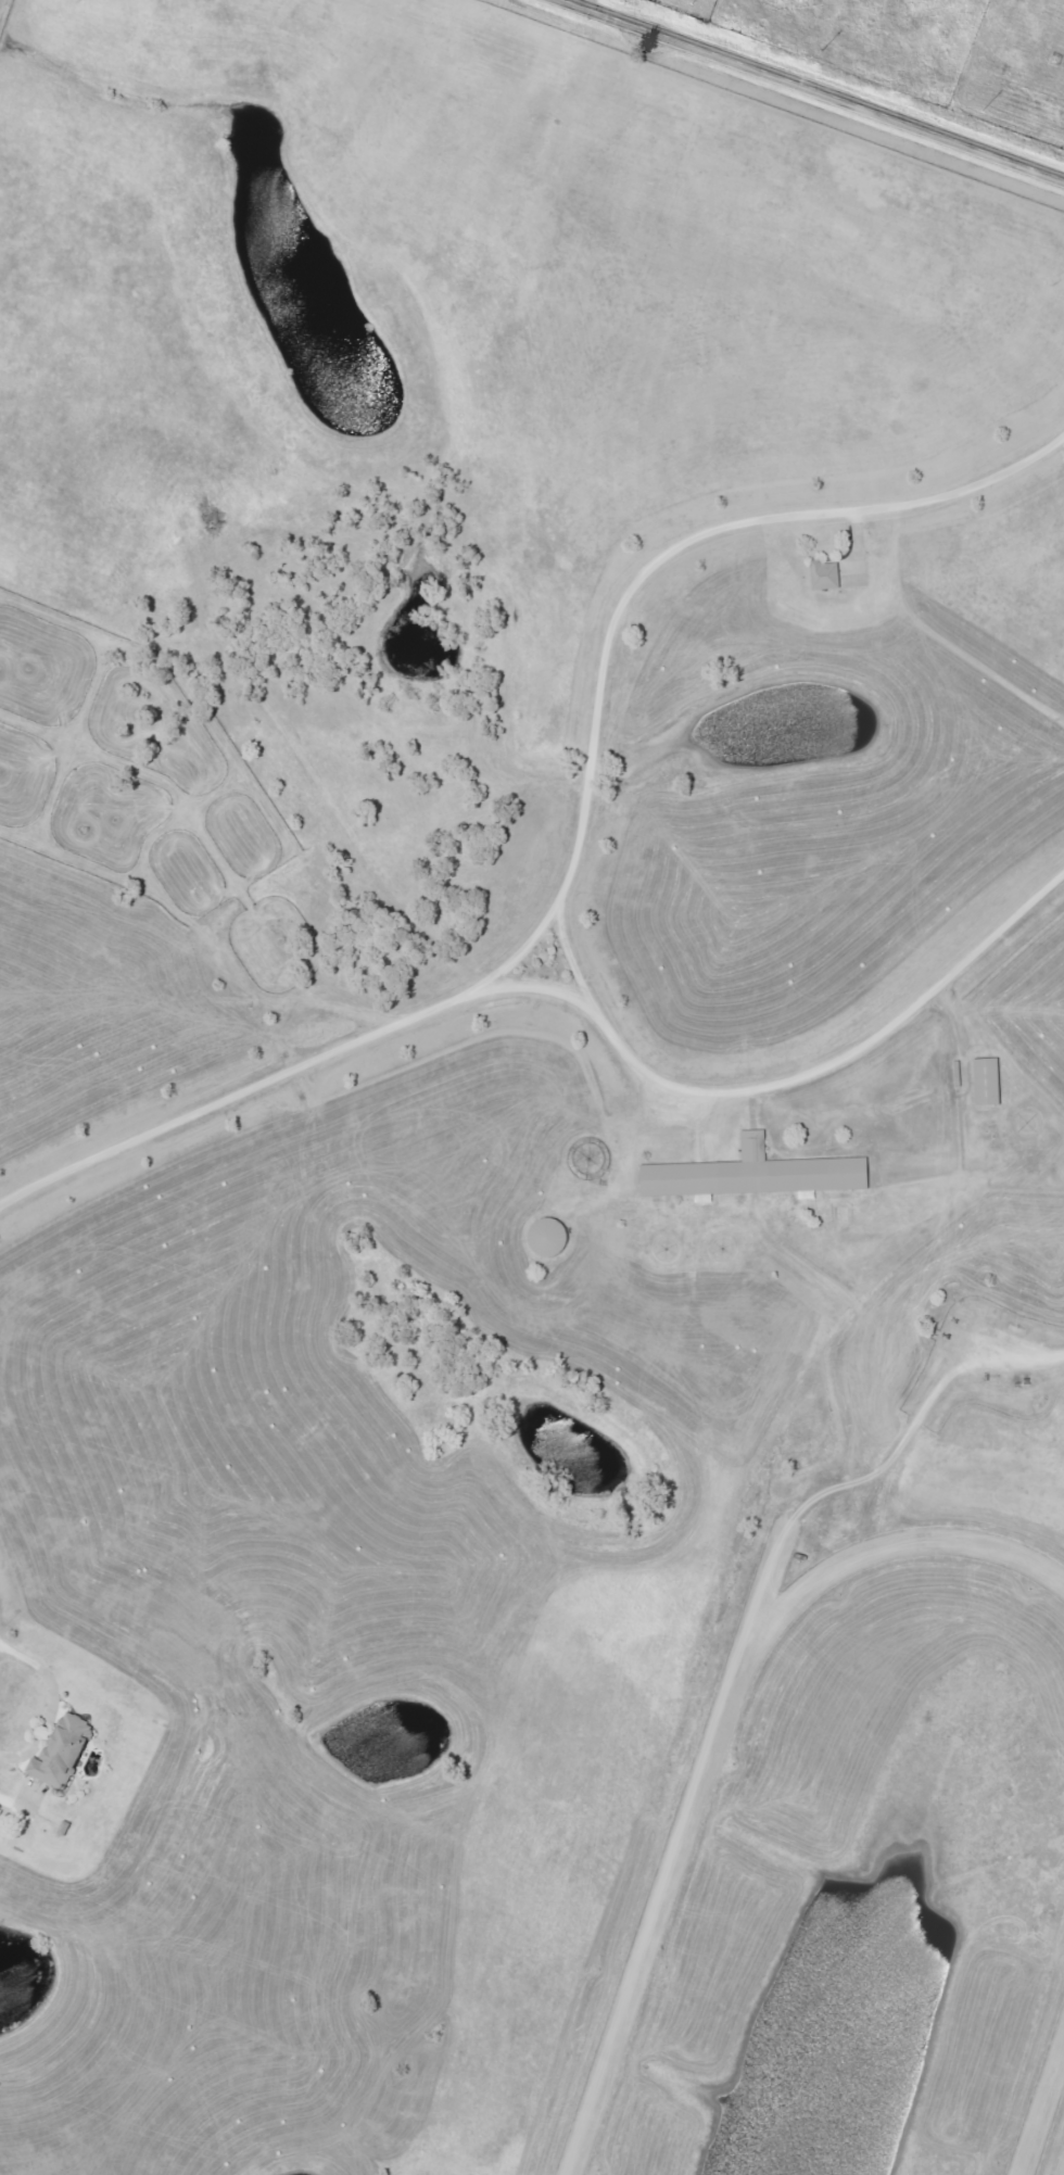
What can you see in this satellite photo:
road: (583, 3)
road: (814, 89)
building: (824, 576)
road: (575, 833)
building: (984, 1082)
road: (789, 1087)
building: (751, 1174)
building: (546, 1238)
road: (1035, 1354)

